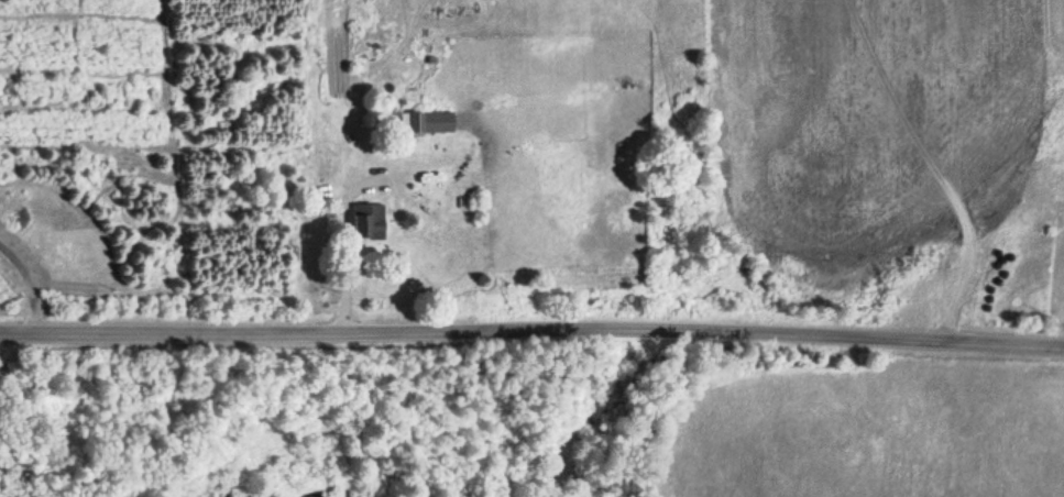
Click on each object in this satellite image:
building: (428, 122)
building: (368, 221)
road: (531, 341)

